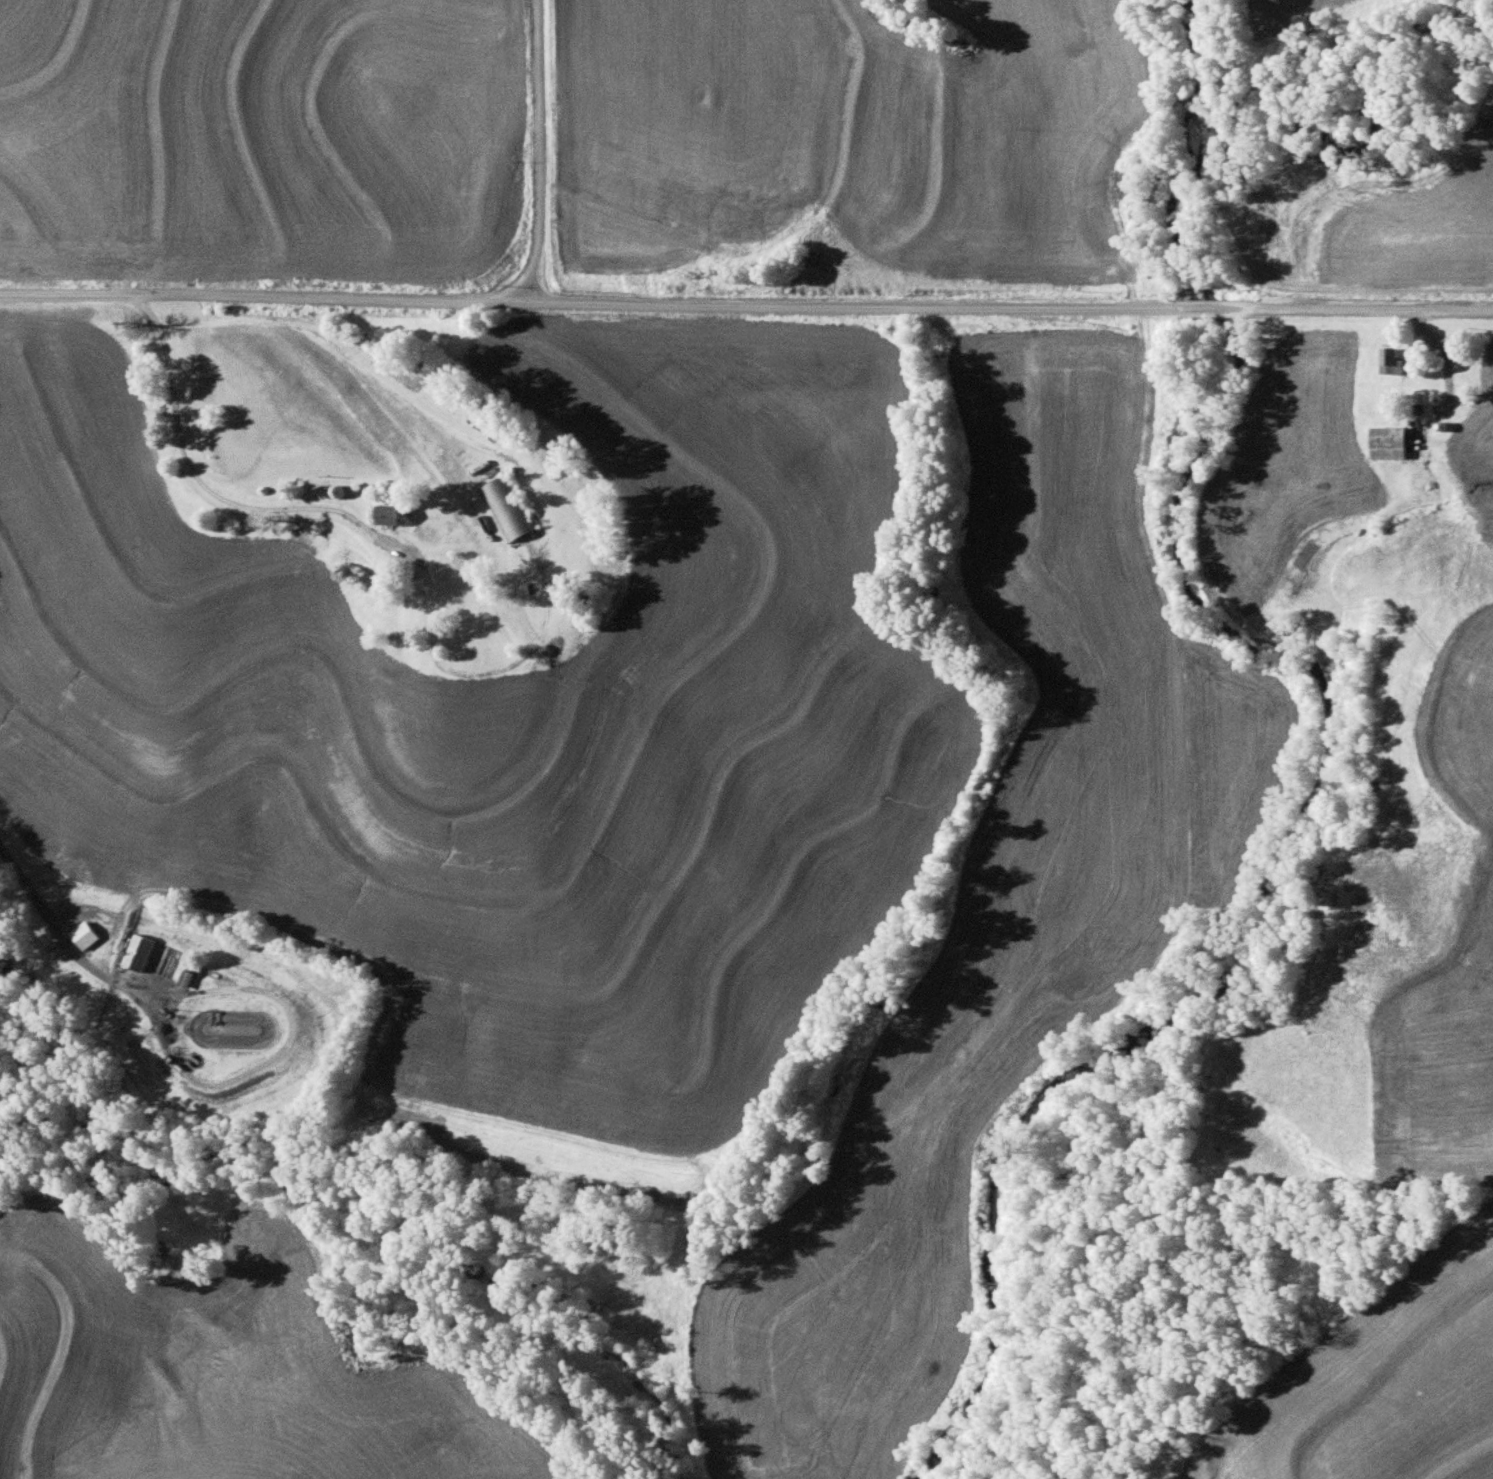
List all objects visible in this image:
road: (538, 152)
building: (743, 209)
road: (746, 307)
road: (145, 311)
building: (1390, 361)
building: (1390, 442)
building: (506, 507)
building: (390, 512)
road: (479, 519)
road: (65, 939)
building: (149, 955)
building: (187, 978)

